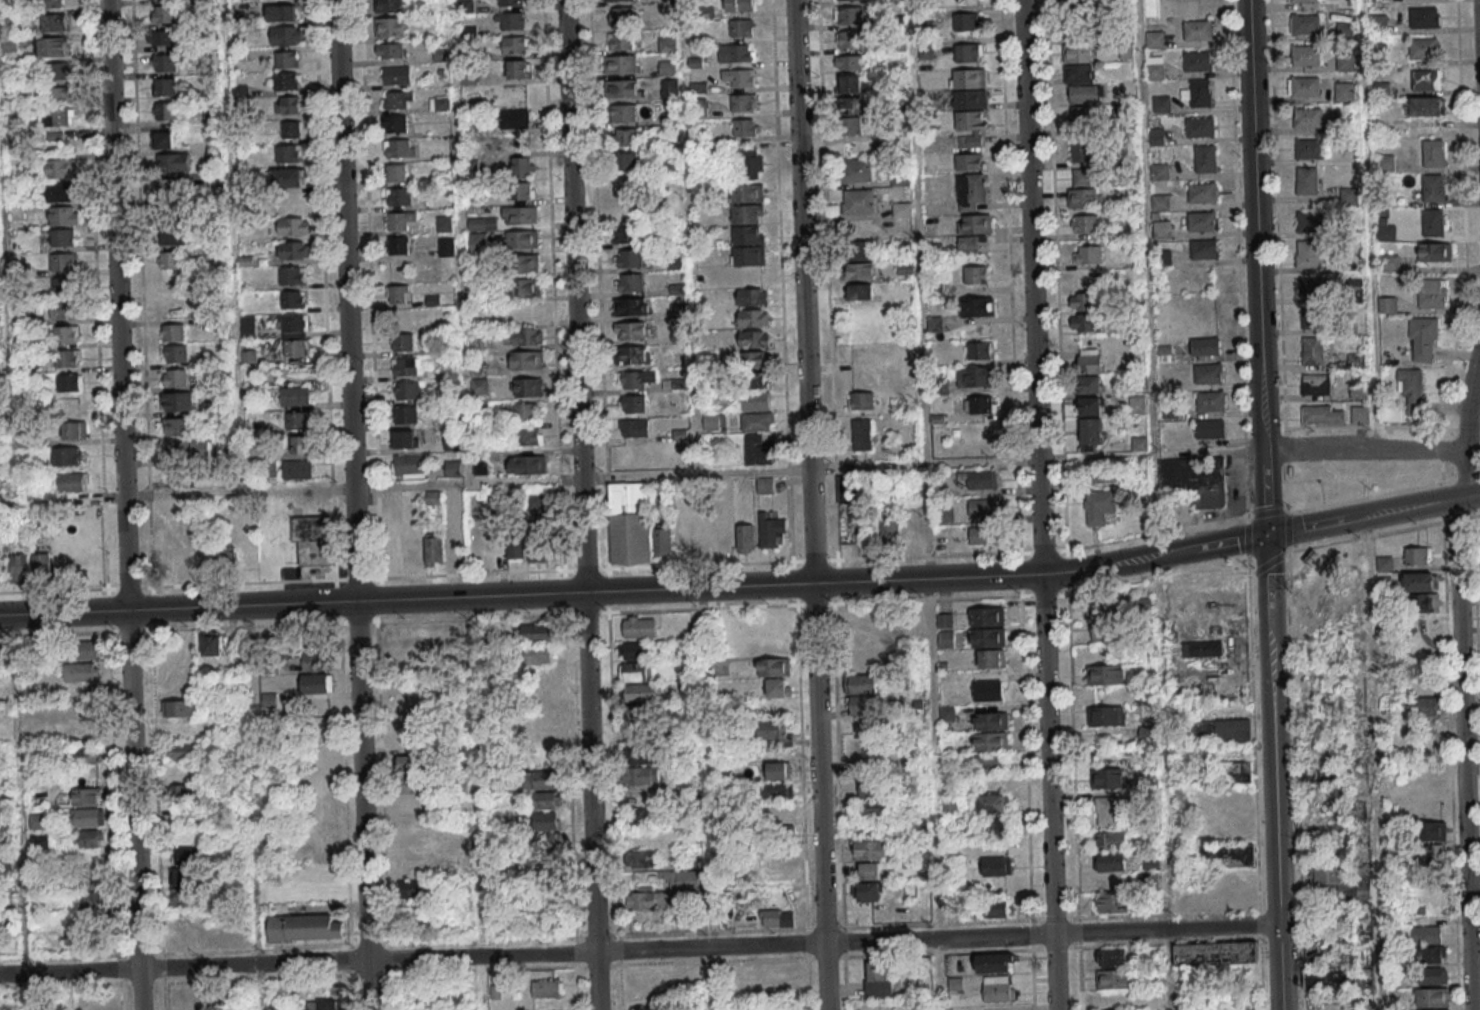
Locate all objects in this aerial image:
building: (1306, 1)
building: (511, 2)
building: (55, 3)
building: (739, 5)
building: (388, 6)
building: (1078, 7)
building: (282, 12)
building: (163, 13)
building: (621, 15)
building: (850, 15)
building: (1424, 17)
building: (510, 21)
building: (965, 21)
building: (54, 22)
building: (1378, 23)
building: (1305, 24)
building: (390, 26)
building: (741, 27)
building: (1197, 30)
building: (1344, 31)
building: (287, 35)
building: (162, 37)
building: (849, 39)
building: (1154, 39)
building: (621, 41)
building: (667, 44)
building: (515, 45)
building: (52, 46)
building: (1423, 48)
building: (390, 50)
building: (737, 52)
building: (967, 52)
building: (1305, 55)
building: (286, 59)
building: (1197, 61)
building: (164, 62)
building: (849, 62)
building: (1078, 62)
building: (1345, 62)
building: (621, 64)
building: (668, 68)
building: (1155, 68)
building: (518, 69)
building: (57, 70)
building: (396, 75)
building: (738, 77)
building: (969, 78)
building: (1426, 79)
building: (286, 81)
building: (848, 83)
building: (165, 86)
building: (1303, 87)
building: (622, 88)
building: (669, 88)
building: (1343, 91)
building: (1198, 93)
building: (1085, 94)
building: (57, 95)
building: (398, 99)
building: (969, 99)
building: (744, 102)
building: (440, 103)
building: (1161, 104)
building: (288, 105)
building: (851, 105)
building: (1426, 106)
building: (165, 110)
building: (623, 112)
building: (58, 116)
building: (1080, 117)
building: (1307, 118)
building: (515, 119)
building: (395, 123)
building: (850, 125)
building: (1199, 126)
building: (745, 127)
building: (969, 128)
building: (291, 129)
building: (1156, 136)
building: (625, 137)
building: (164, 139)
building: (397, 148)
building: (1310, 149)
building: (1081, 150)
building: (1433, 153)
building: (289, 154)
building: (1205, 158)
building: (173, 161)
building: (626, 161)
building: (969, 161)
building: (1385, 162)
building: (749, 163)
building: (523, 167)
building: (61, 168)
building: (855, 170)
building: (1159, 171)
building: (395, 172)
building: (1085, 176)
building: (289, 177)
building: (1306, 180)
building: (1433, 187)
building: (169, 188)
building: (521, 190)
building: (970, 191)
building: (61, 192)
building: (1202, 192)
building: (747, 193)
building: (399, 196)
building: (1349, 196)
building: (1084, 198)
building: (858, 201)
building: (292, 202)
building: (1160, 202)
building: (901, 209)
building: (748, 214)
building: (63, 215)
building: (519, 215)
building: (401, 221)
building: (1201, 221)
building: (1310, 222)
building: (1433, 222)
building: (444, 223)
building: (1083, 223)
building: (974, 224)
road: (1368, 224)
building: (294, 226)
building: (1161, 231)
road: (916, 232)
building: (1386, 232)
building: (173, 234)
building: (625, 234)
road: (690, 236)
building: (63, 237)
building: (520, 239)
road: (459, 241)
building: (398, 245)
building: (748, 245)
building: (973, 245)
road: (233, 246)
building: (446, 247)
building: (294, 249)
building: (1203, 249)
building: (859, 251)
building: (1435, 251)
building: (1309, 254)
building: (1087, 255)
building: (628, 258)
building: (170, 259)
building: (63, 261)
building: (1389, 262)
building: (528, 263)
road: (1256, 267)
building: (860, 270)
building: (975, 274)
building: (292, 275)
road: (1147, 277)
building: (1083, 281)
building: (629, 282)
building: (63, 285)
building: (525, 287)
building: (1313, 287)
building: (859, 291)
building: (399, 294)
building: (1432, 294)
building: (752, 296)
building: (292, 299)
building: (1084, 302)
building: (1387, 305)
building: (630, 306)
building: (977, 306)
building: (64, 310)
building: (678, 310)
building: (526, 311)
building: (753, 317)
building: (1314, 318)
building: (482, 319)
building: (1083, 322)
building: (931, 324)
building: (248, 326)
building: (632, 330)
road: (6, 332)
building: (173, 332)
building: (65, 334)
building: (295, 335)
building: (524, 336)
building: (753, 339)
building: (1423, 339)
building: (402, 340)
building: (1205, 346)
building: (979, 350)
building: (1312, 350)
building: (174, 353)
building: (632, 355)
building: (66, 358)
building: (526, 359)
building: (752, 359)
building: (1089, 361)
building: (405, 366)
building: (1208, 373)
building: (974, 376)
building: (175, 378)
building: (634, 378)
building: (753, 380)
building: (69, 382)
building: (1089, 384)
building: (1315, 384)
building: (527, 387)
building: (1411, 389)
building: (406, 390)
building: (295, 397)
building: (861, 400)
building: (177, 401)
building: (755, 401)
building: (1210, 401)
building: (632, 404)
building: (982, 404)
building: (1136, 404)
building: (1090, 405)
building: (522, 411)
building: (406, 414)
building: (1322, 414)
building: (1359, 414)
building: (298, 421)
building: (756, 421)
building: (713, 422)
building: (177, 426)
building: (634, 428)
building: (74, 429)
building: (1210, 429)
building: (1090, 433)
building: (862, 434)
building: (529, 436)
building: (406, 439)
building: (450, 441)
building: (301, 444)
road: (1364, 447)
building: (187, 449)
building: (757, 450)
building: (66, 456)
building: (480, 463)
building: (527, 464)
building: (409, 466)
building: (453, 468)
building: (297, 469)
building: (1101, 474)
road: (577, 477)
building: (177, 479)
building: (978, 479)
building: (1196, 479)
road: (1460, 479)
building: (72, 481)
building: (765, 485)
building: (855, 489)
road: (1469, 495)
building: (432, 497)
building: (537, 501)
road: (352, 504)
road: (580, 504)
road: (810, 504)
road: (1039, 504)
road: (123, 505)
building: (1098, 506)
building: (983, 507)
building: (944, 514)
road: (1362, 516)
building: (629, 523)
building: (889, 529)
building: (770, 530)
road: (1382, 533)
building: (702, 535)
building: (983, 535)
traffic signals: (1266, 535)
building: (745, 536)
building: (723, 537)
building: (312, 539)
building: (683, 540)
building: (662, 541)
building: (515, 546)
building: (537, 546)
building: (453, 548)
building: (433, 549)
building: (412, 550)
road: (1175, 552)
building: (1417, 555)
building: (226, 558)
building: (184, 561)
building: (1384, 563)
building: (40, 565)
building: (19, 567)
building: (1419, 581)
road: (542, 594)
building: (1422, 602)
building: (1143, 607)
building: (986, 616)
building: (944, 621)
building: (1102, 623)
building: (639, 627)
building: (537, 632)
building: (987, 637)
building: (946, 639)
building: (212, 643)
building: (80, 649)
building: (1202, 649)
building: (635, 650)
building: (0, 654)
building: (537, 655)
building: (991, 658)
building: (313, 662)
building: (773, 667)
building: (81, 671)
building: (635, 671)
building: (1105, 674)
road: (1460, 677)
building: (316, 683)
building: (777, 687)
building: (987, 690)
building: (861, 693)
building: (1426, 707)
building: (179, 708)
building: (639, 714)
building: (1106, 717)
building: (990, 721)
road: (1271, 729)
building: (1218, 731)
building: (775, 732)
building: (989, 741)
building: (183, 751)
building: (642, 754)
building: (84, 755)
road: (931, 759)
building: (406, 762)
building: (989, 762)
road: (1372, 763)
building: (778, 770)
building: (1236, 772)
building: (1314, 773)
building: (641, 775)
building: (1108, 778)
building: (541, 779)
road: (1293, 781)
road: (1163, 783)
building: (409, 784)
building: (872, 788)
building: (777, 790)
building: (182, 793)
building: (86, 796)
road: (708, 798)
building: (546, 800)
road: (475, 803)
building: (991, 803)
road: (252, 808)
building: (872, 808)
building: (1106, 810)
road: (17, 812)
building: (87, 817)
building: (639, 817)
building: (545, 821)
building: (998, 825)
building: (1432, 830)
building: (781, 834)
building: (90, 838)
building: (1110, 840)
building: (871, 850)
building: (1430, 852)
building: (1229, 853)
building: (640, 858)
building: (1111, 861)
building: (185, 865)
building: (996, 866)
building: (870, 870)
building: (781, 872)
building: (683, 879)
building: (1344, 882)
building: (417, 887)
building: (93, 891)
building: (316, 891)
building: (868, 892)
building: (551, 896)
building: (185, 897)
building: (648, 899)
building: (1114, 902)
building: (997, 908)
building: (777, 918)
building: (303, 927)
building: (1426, 934)
building: (188, 937)
building: (240, 939)
road: (638, 951)
building: (1215, 953)
building: (1430, 954)
building: (1116, 957)
building: (995, 963)
road: (1278, 967)
road: (938, 974)
building: (1432, 976)
building: (878, 978)
building: (1327, 978)
building: (1112, 979)
building: (547, 988)
building: (495, 991)
building: (999, 992)
building: (1432, 996)
building: (323, 1005)
building: (645, 1009)
building: (1319, 1009)
building: (1431, 1009)

